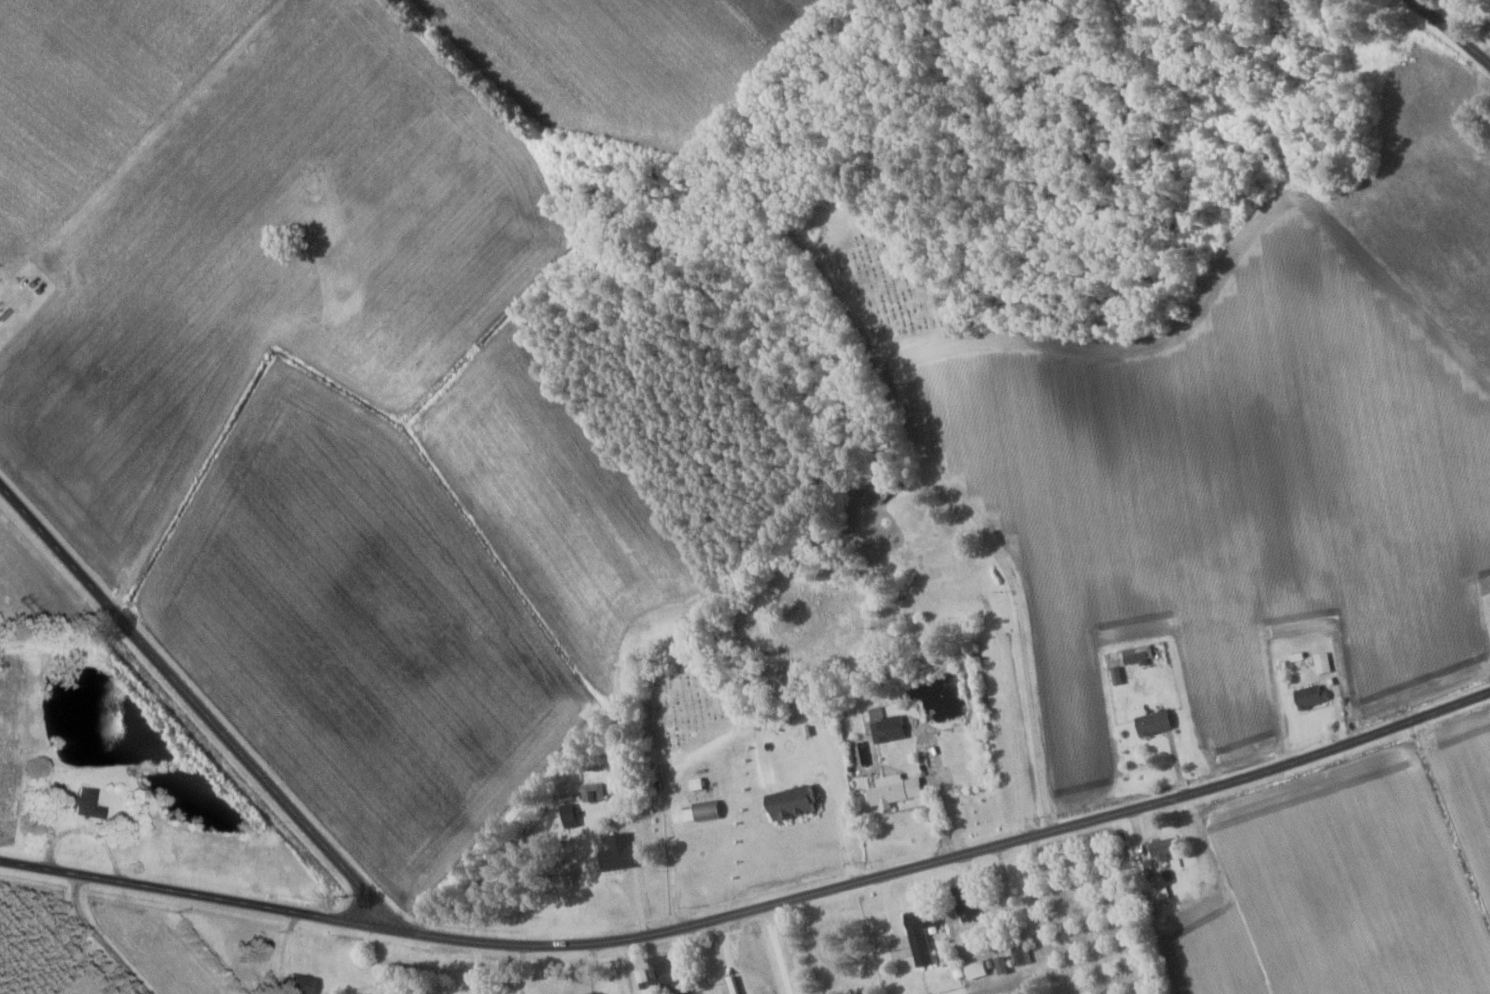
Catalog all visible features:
road: (1450, 35)
park: (877, 263)
building: (939, 573)
building: (1141, 654)
building: (1320, 663)
park: (683, 694)
building: (1306, 696)
road: (195, 702)
building: (1160, 722)
building: (891, 726)
building: (898, 789)
building: (595, 792)
building: (86, 802)
building: (798, 802)
building: (711, 809)
building: (574, 817)
building: (1168, 848)
building: (624, 851)
building: (972, 899)
road: (755, 908)
building: (926, 932)
road: (779, 949)
building: (1024, 954)
building: (978, 968)
building: (672, 975)
building: (306, 984)
building: (742, 985)

